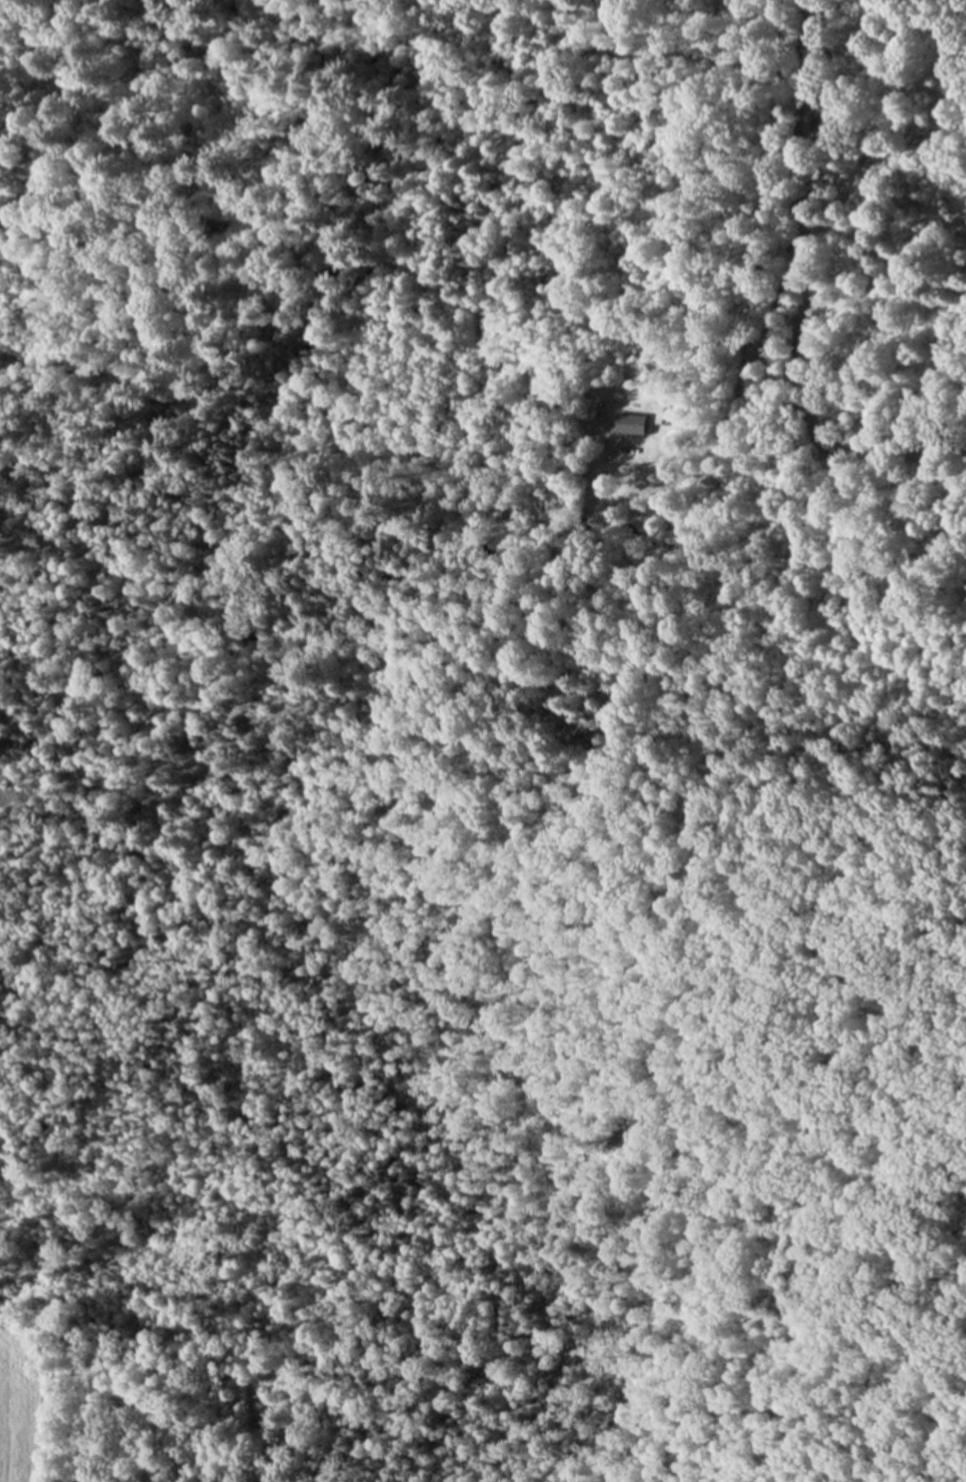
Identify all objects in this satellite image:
road: (879, 260)
road: (793, 303)
building: (662, 415)
building: (631, 425)

